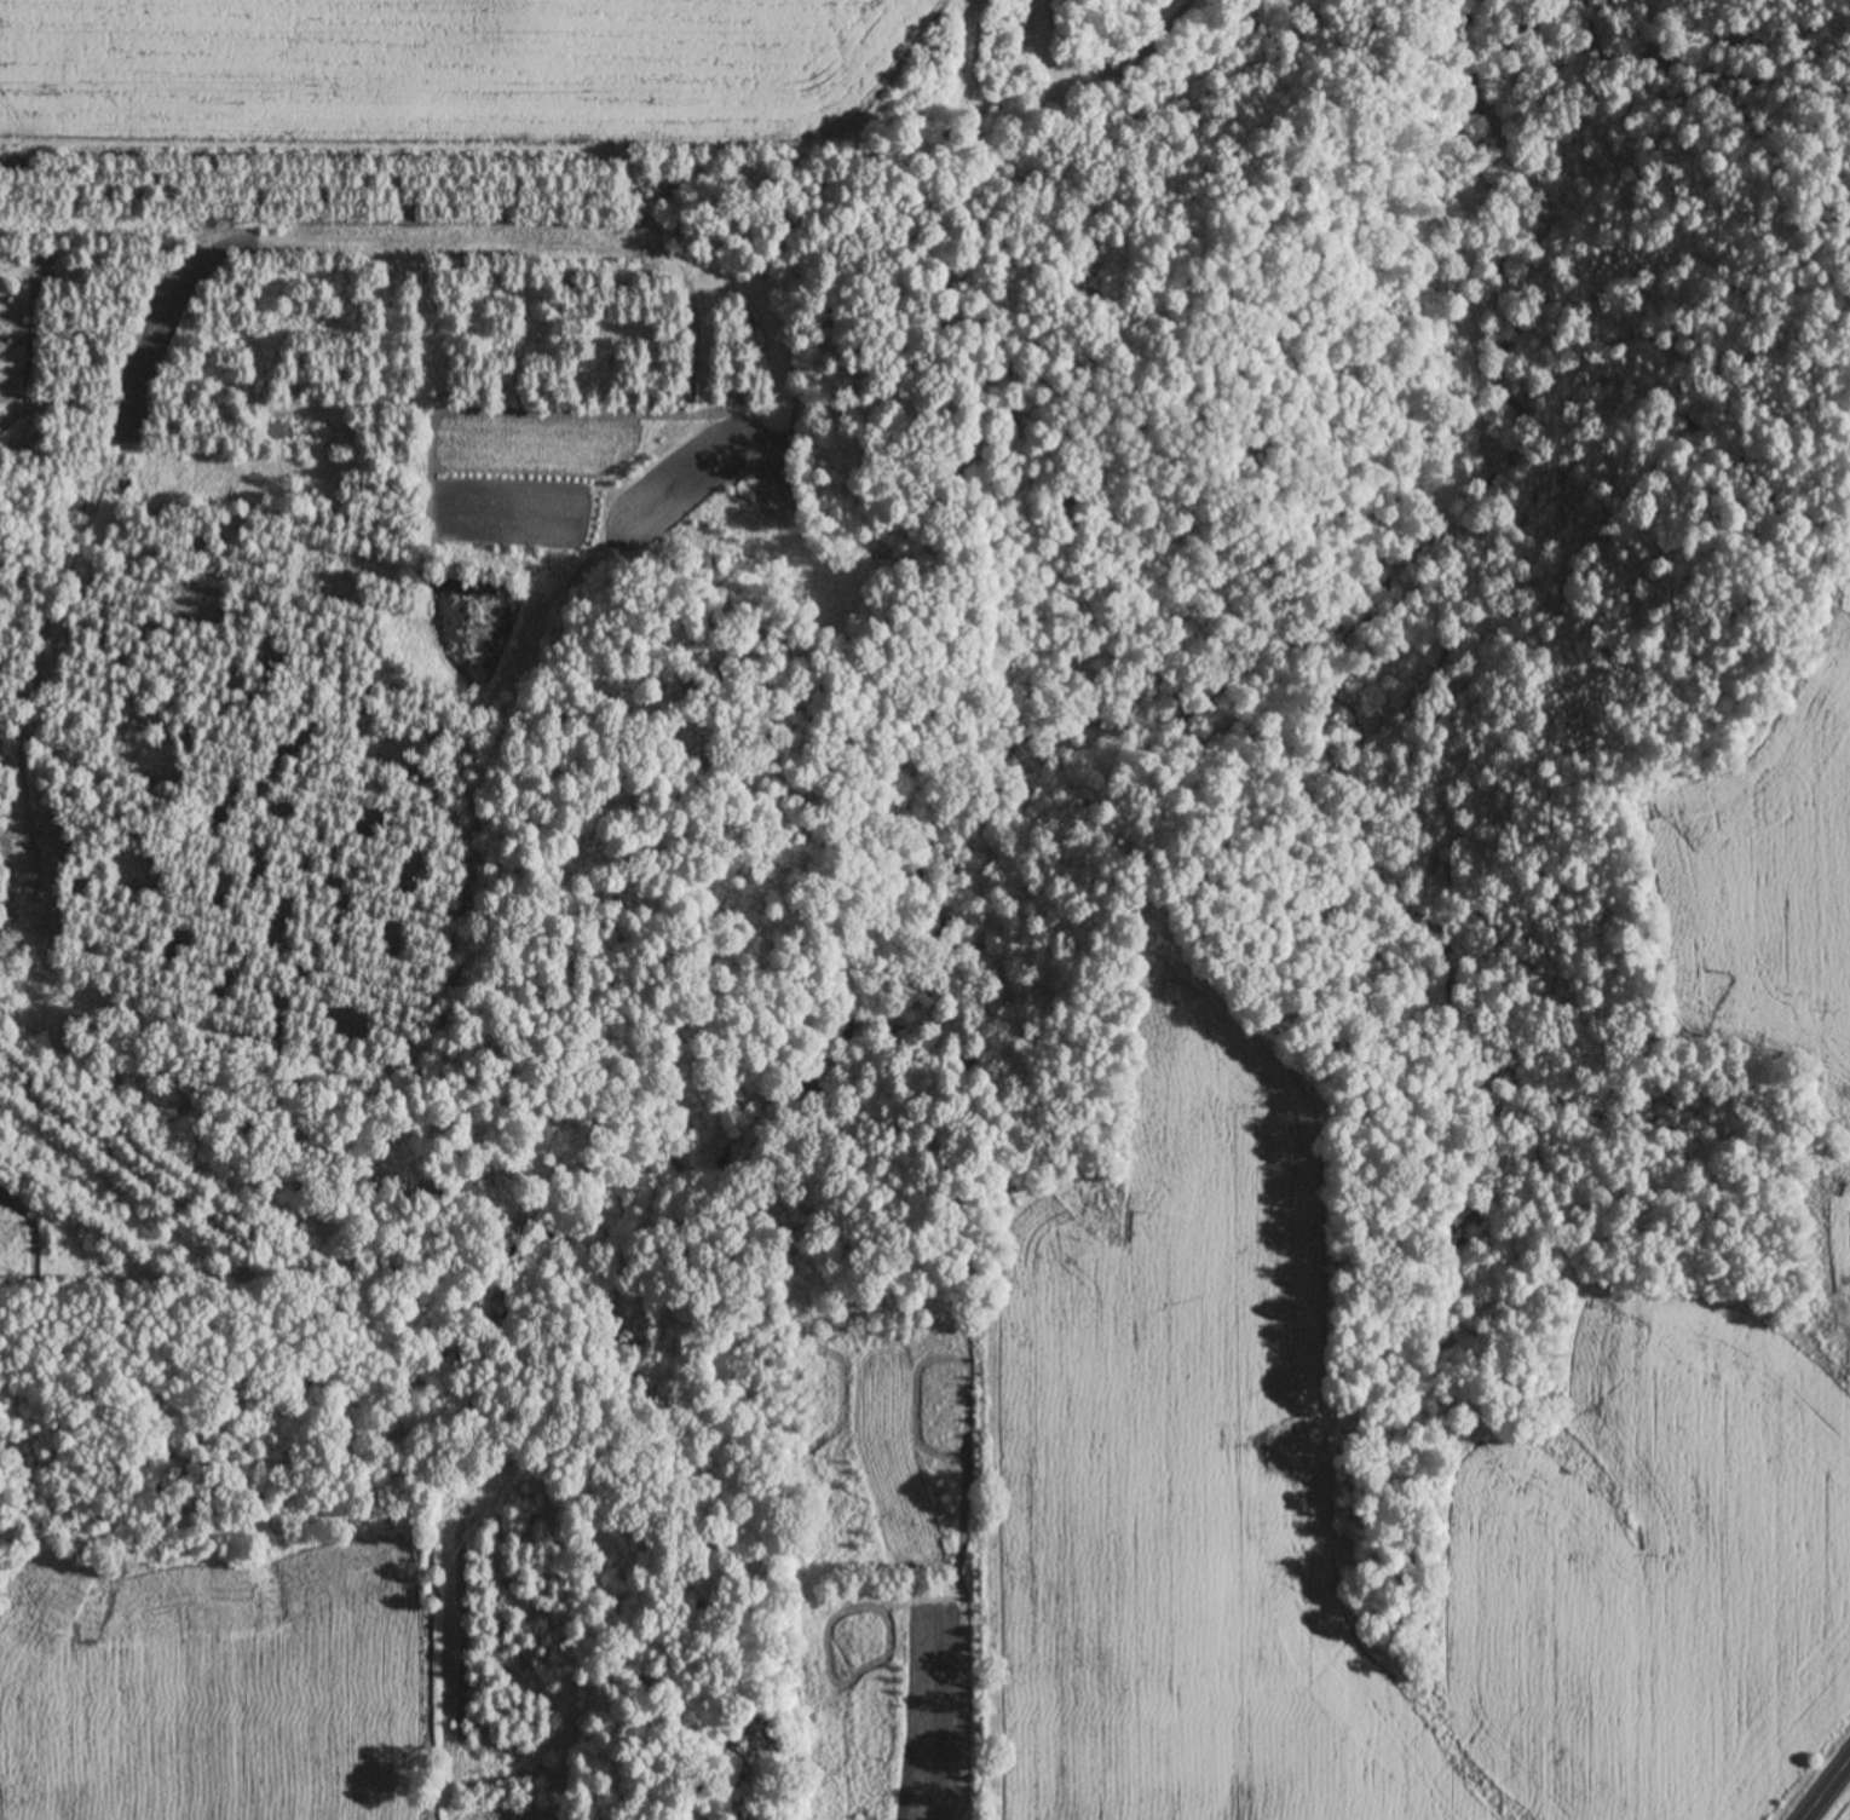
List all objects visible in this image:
road: (1823, 1779)

